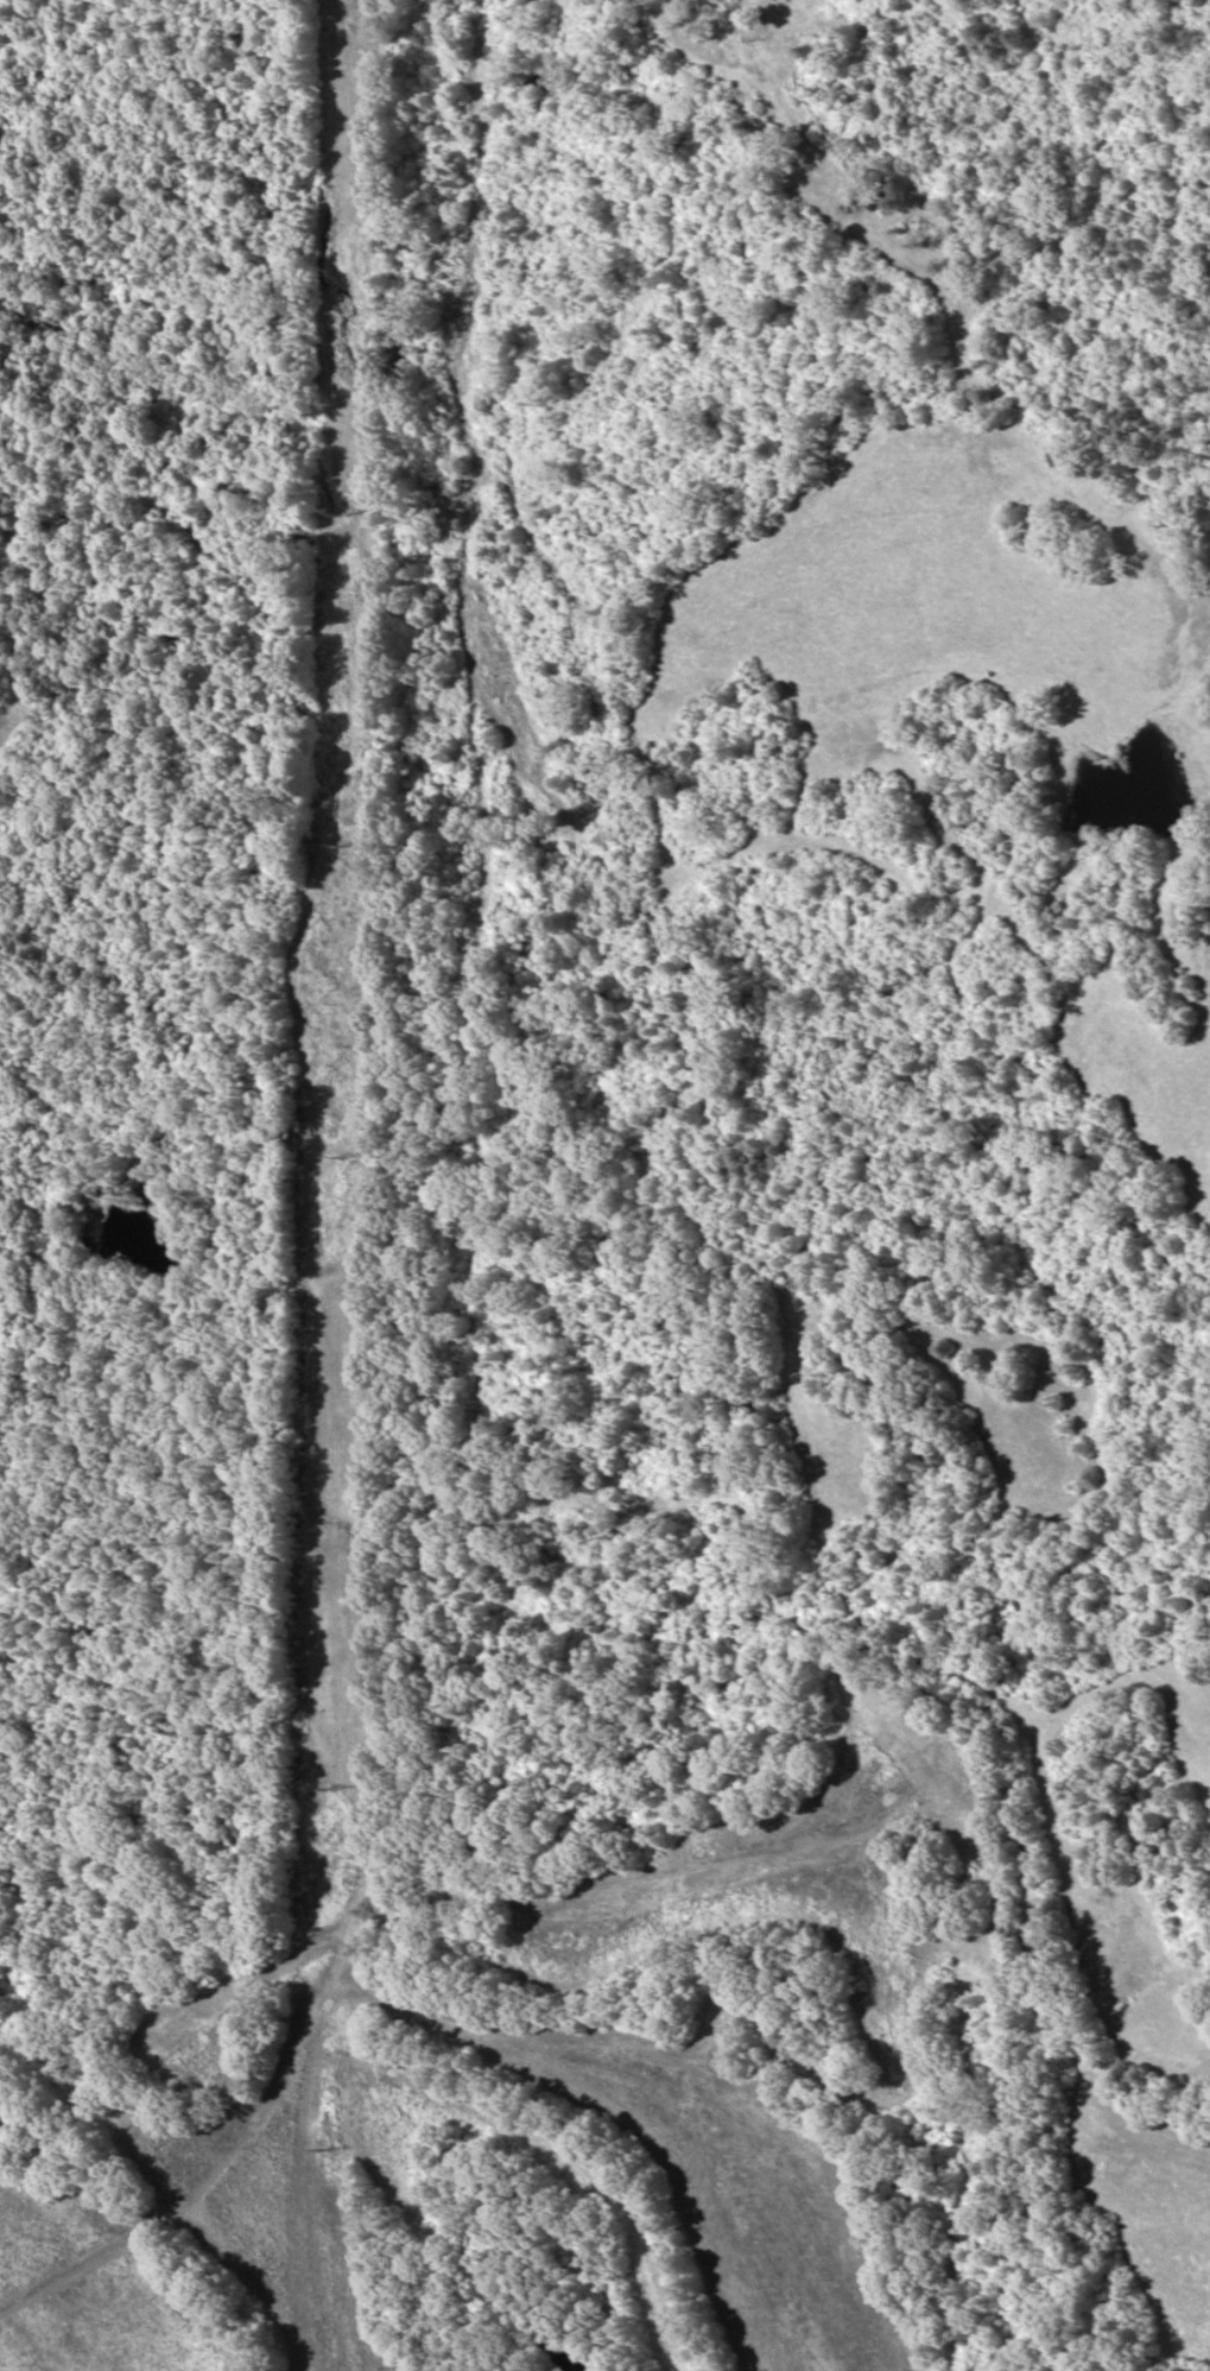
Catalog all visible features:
road: (710, 74)
road: (1103, 1941)

